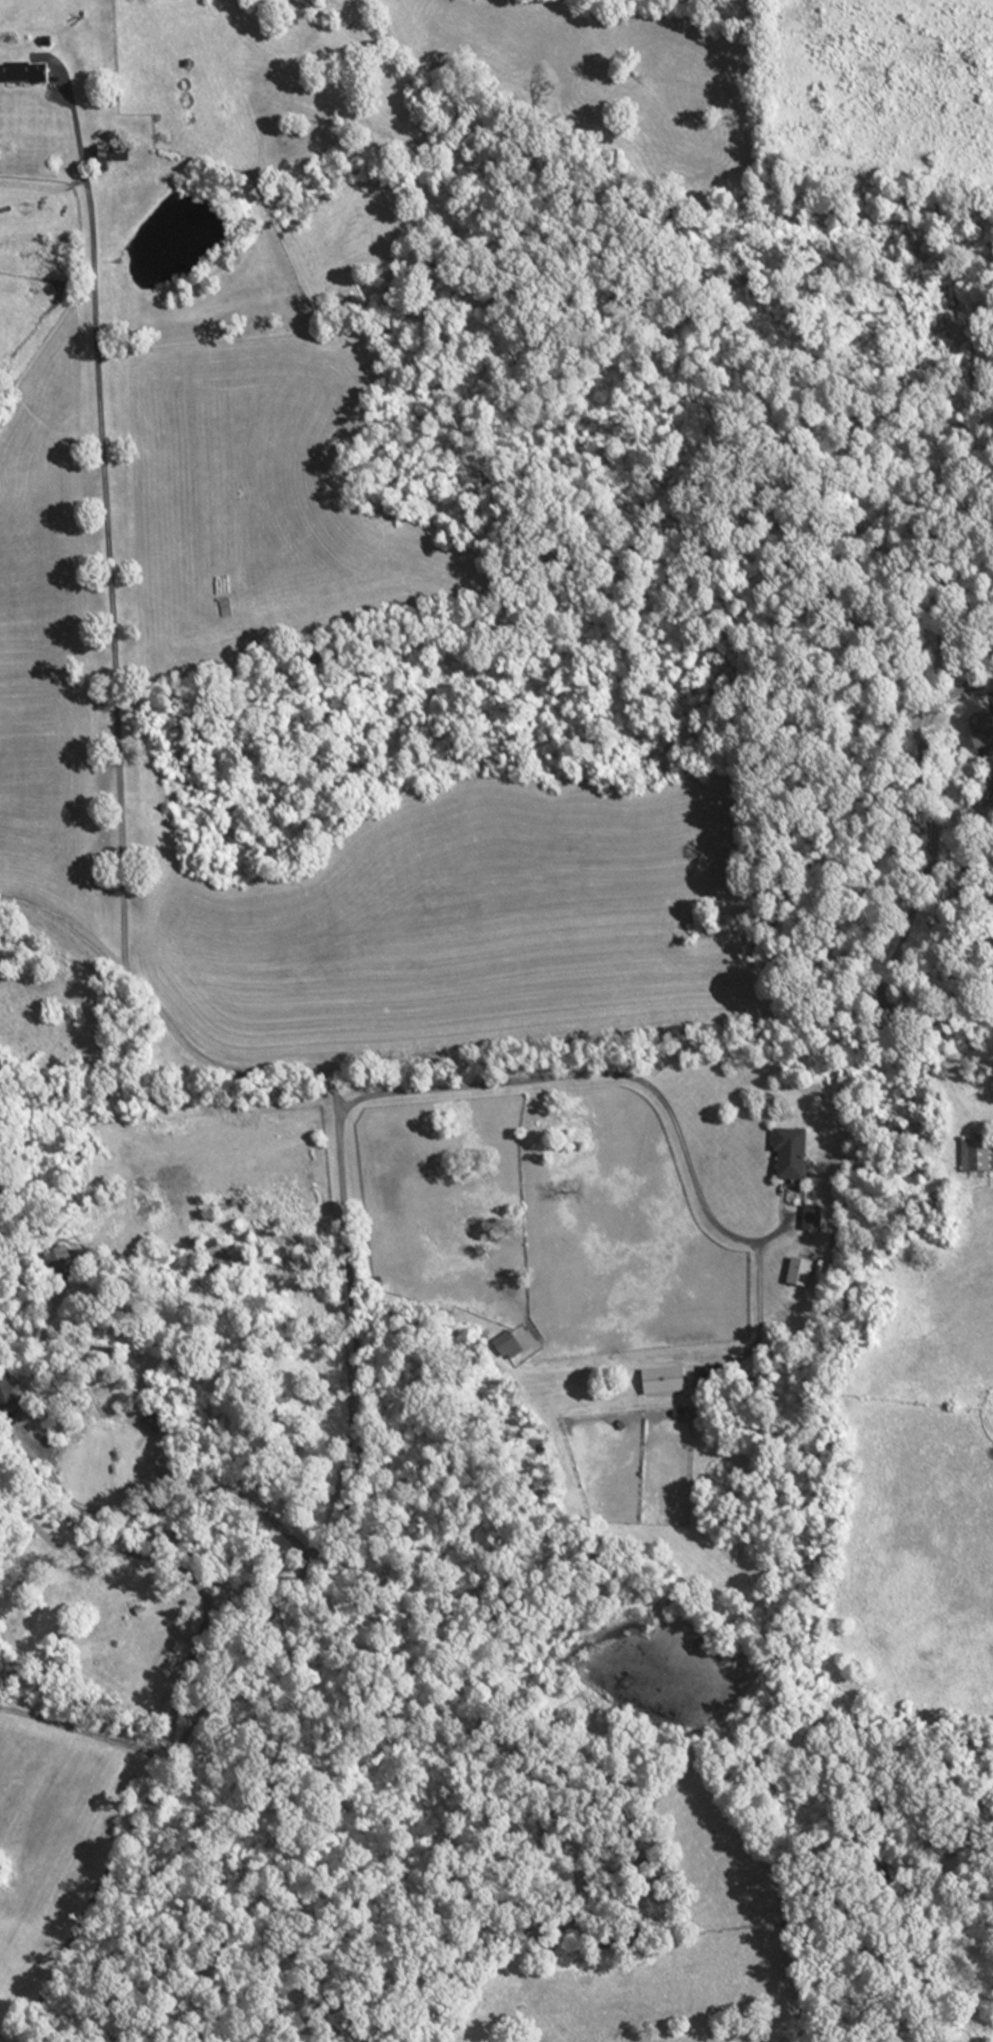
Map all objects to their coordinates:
building: (27, 74)
building: (100, 159)
road: (111, 563)
building: (984, 732)
road: (928, 839)
road: (470, 1058)
road: (599, 1073)
building: (792, 1155)
building: (977, 1156)
building: (814, 1220)
crop: (548, 1221)
building: (63, 1266)
building: (802, 1274)
building: (509, 1348)
building: (665, 1382)
building: (6, 1397)
crop: (634, 1463)
road: (174, 1498)
road: (186, 1572)
road: (295, 1584)
road: (88, 1731)
road: (0, 2041)

